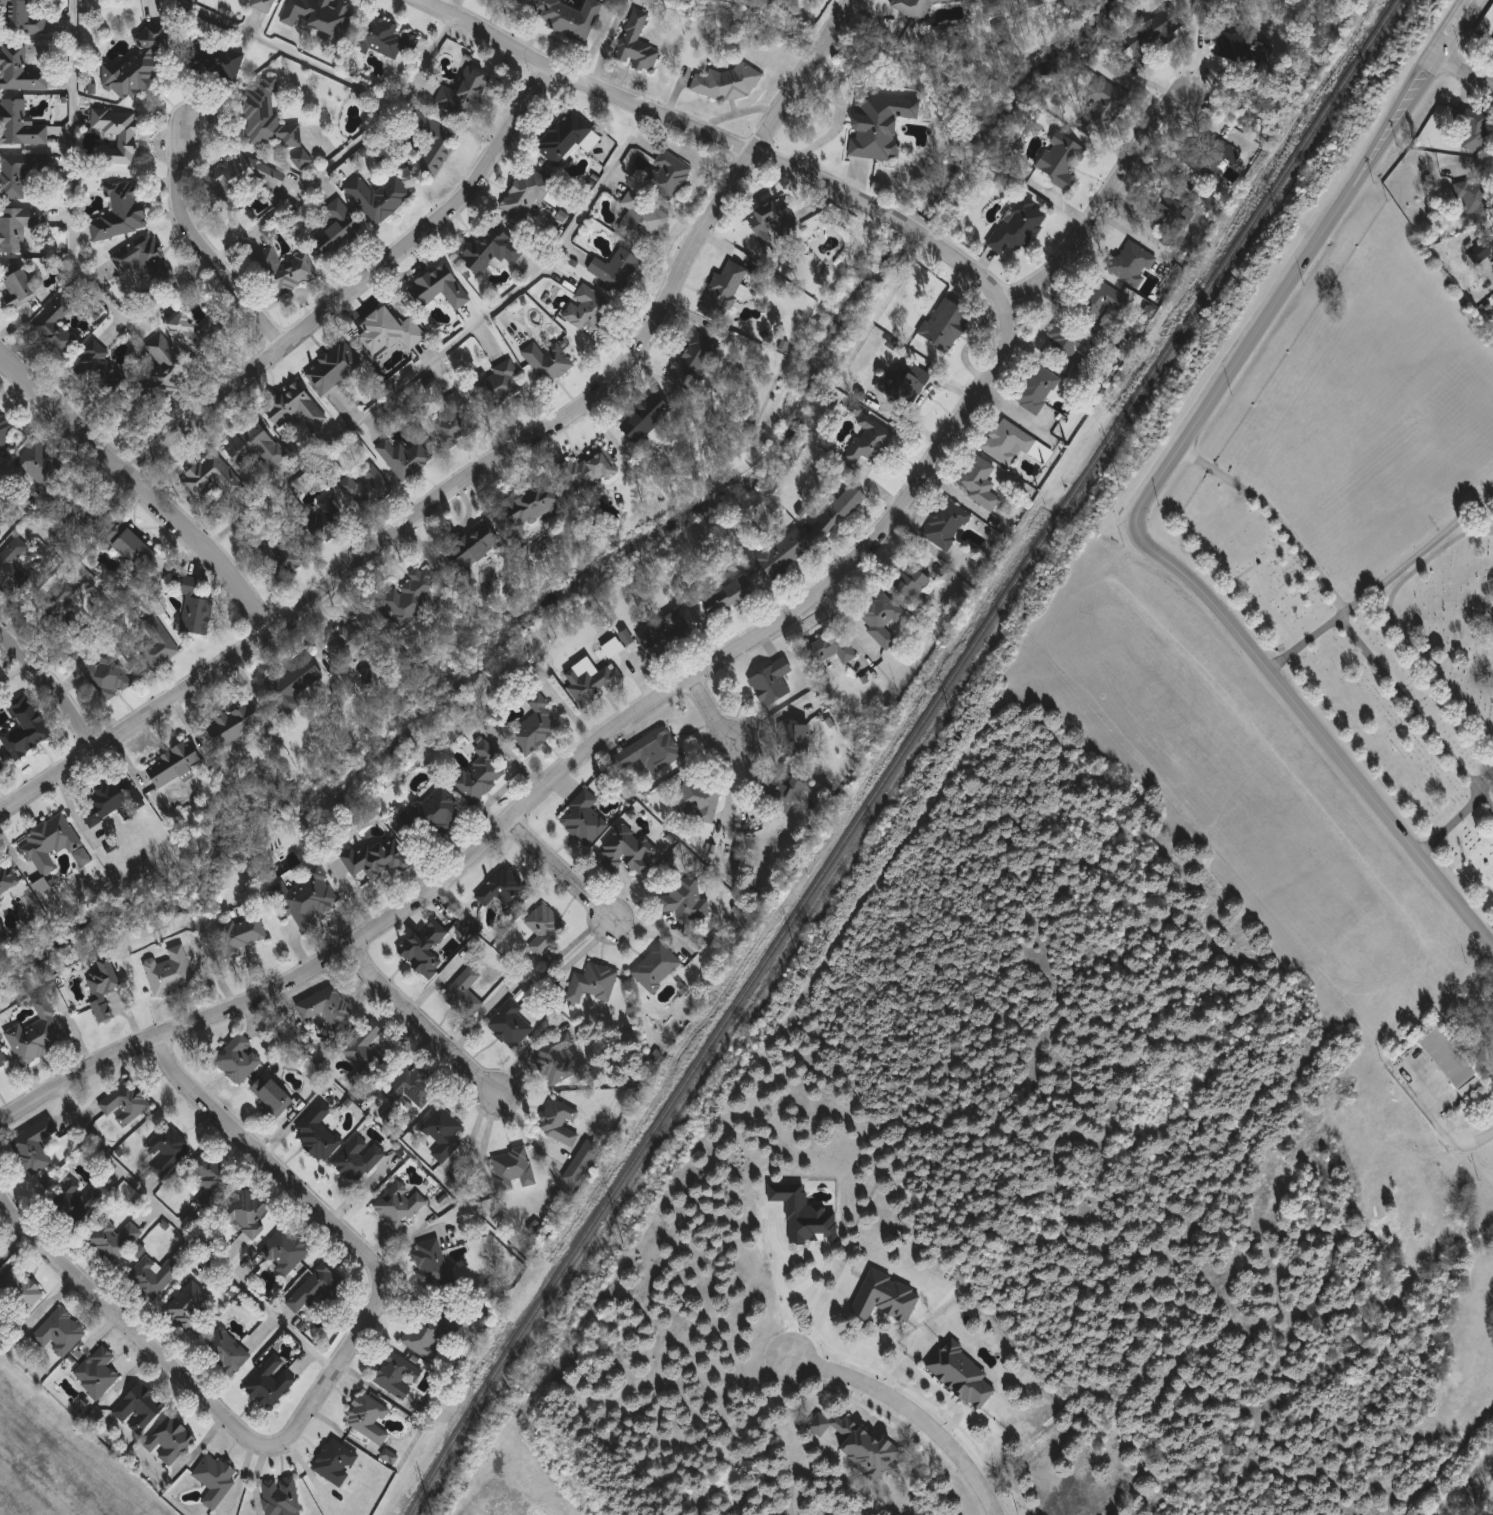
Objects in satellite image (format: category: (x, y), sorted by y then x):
building: (996, 2)
building: (1032, 2)
building: (263, 5)
building: (915, 7)
building: (320, 15)
building: (23, 17)
building: (570, 19)
building: (1154, 37)
building: (384, 38)
building: (638, 45)
building: (1492, 48)
building: (1240, 50)
road: (285, 51)
building: (213, 59)
building: (142, 63)
building: (21, 70)
road: (1462, 73)
building: (729, 83)
building: (465, 94)
building: (1103, 108)
building: (269, 117)
building: (21, 125)
building: (880, 125)
building: (1477, 131)
building: (118, 135)
building: (565, 138)
building: (432, 145)
road: (347, 151)
building: (303, 159)
building: (1062, 160)
building: (1212, 163)
building: (20, 173)
building: (249, 173)
building: (667, 175)
building: (527, 194)
building: (379, 197)
building: (1476, 199)
road: (1104, 203)
building: (122, 213)
building: (1172, 213)
building: (643, 219)
building: (772, 220)
road: (71, 223)
building: (1020, 226)
building: (19, 228)
building: (338, 228)
road: (198, 245)
building: (492, 250)
building: (1482, 252)
building: (143, 259)
road: (1295, 262)
building: (1133, 264)
building: (617, 270)
building: (285, 271)
building: (19, 286)
road: (354, 288)
building: (440, 288)
building: (724, 292)
building: (1103, 301)
building: (590, 312)
building: (946, 325)
building: (56, 327)
building: (390, 333)
building: (190, 338)
building: (1067, 342)
road: (452, 350)
building: (697, 361)
building: (549, 362)
building: (99, 368)
building: (334, 369)
building: (165, 371)
building: (505, 380)
building: (903, 386)
building: (1037, 389)
building: (294, 406)
road: (1011, 409)
building: (645, 417)
building: (455, 421)
building: (5, 429)
building: (870, 441)
building: (1013, 444)
building: (255, 448)
building: (405, 460)
building: (41, 465)
road: (492, 468)
building: (589, 472)
building: (212, 477)
building: (980, 483)
building: (367, 489)
road: (140, 491)
building: (534, 507)
building: (84, 509)
building: (841, 511)
road: (1272, 515)
road: (1484, 518)
building: (323, 522)
building: (948, 526)
park: (1376, 528)
building: (475, 548)
building: (134, 549)
building: (13, 552)
building: (786, 554)
road: (1415, 554)
building: (286, 558)
building: (1294, 564)
road: (91, 578)
road: (831, 580)
building: (911, 584)
building: (730, 597)
building: (411, 598)
building: (59, 605)
building: (195, 609)
building: (882, 619)
road: (1393, 626)
building: (354, 637)
building: (666, 637)
building: (159, 649)
building: (828, 652)
road: (14, 671)
building: (109, 677)
road: (1388, 679)
building: (297, 682)
building: (592, 683)
building: (772, 683)
road: (53, 686)
road: (709, 709)
building: (237, 724)
building: (536, 728)
building: (26, 729)
road: (1320, 731)
building: (798, 740)
building: (651, 752)
railway: (901, 755)
building: (2, 764)
building: (174, 764)
building: (480, 775)
road: (1484, 777)
road: (741, 783)
road: (728, 786)
building: (784, 794)
building: (112, 801)
building: (699, 802)
building: (436, 814)
building: (584, 820)
road: (1450, 824)
building: (50, 844)
building: (628, 851)
building: (81, 856)
building: (377, 860)
road: (562, 872)
building: (7, 876)
building: (40, 886)
building: (505, 891)
building: (686, 901)
building: (307, 902)
building: (546, 930)
building: (237, 937)
building: (426, 950)
road: (580, 954)
building: (657, 968)
building: (171, 974)
building: (593, 984)
building: (104, 990)
building: (464, 994)
building: (328, 1008)
road: (420, 1025)
building: (510, 1025)
building: (37, 1036)
building: (371, 1049)
building: (3, 1058)
building: (1449, 1059)
building: (238, 1060)
building: (557, 1060)
building: (414, 1088)
building: (272, 1097)
building: (126, 1104)
building: (559, 1124)
building: (443, 1130)
road: (1445, 1131)
building: (318, 1134)
building: (36, 1148)
building: (169, 1152)
building: (358, 1159)
building: (582, 1164)
building: (513, 1170)
building: (212, 1183)
building: (77, 1203)
building: (400, 1204)
building: (247, 1214)
building: (803, 1214)
road: (189, 1233)
building: (115, 1241)
building: (286, 1251)
road: (784, 1263)
building: (430, 1264)
building: (154, 1277)
building: (315, 1291)
building: (17, 1297)
building: (884, 1297)
building: (188, 1307)
road: (824, 1318)
building: (428, 1331)
building: (60, 1334)
building: (225, 1352)
building: (97, 1373)
building: (960, 1373)
building: (397, 1375)
building: (269, 1386)
road: (324, 1386)
road: (919, 1401)
building: (139, 1409)
building: (368, 1418)
building: (170, 1440)
building: (856, 1444)
building: (389, 1456)
building: (336, 1462)
building: (215, 1479)
road: (1468, 1486)
building: (281, 1497)

